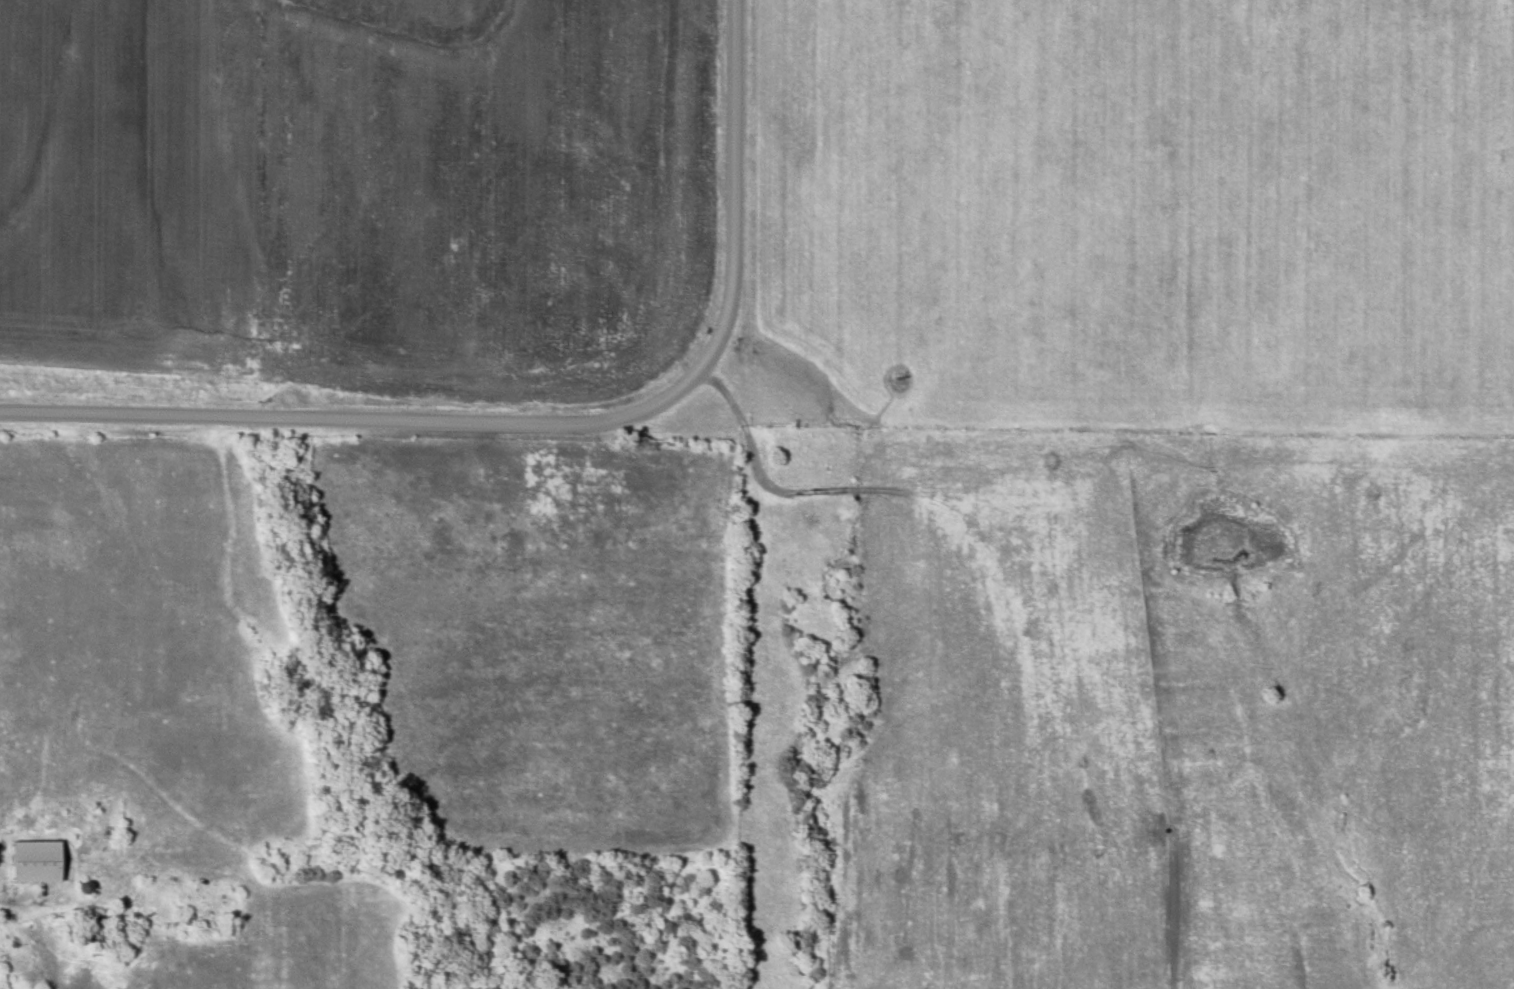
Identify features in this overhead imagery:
road: (732, 170)
crop: (361, 194)
crop: (1134, 215)
road: (376, 418)
building: (37, 862)
building: (88, 928)

